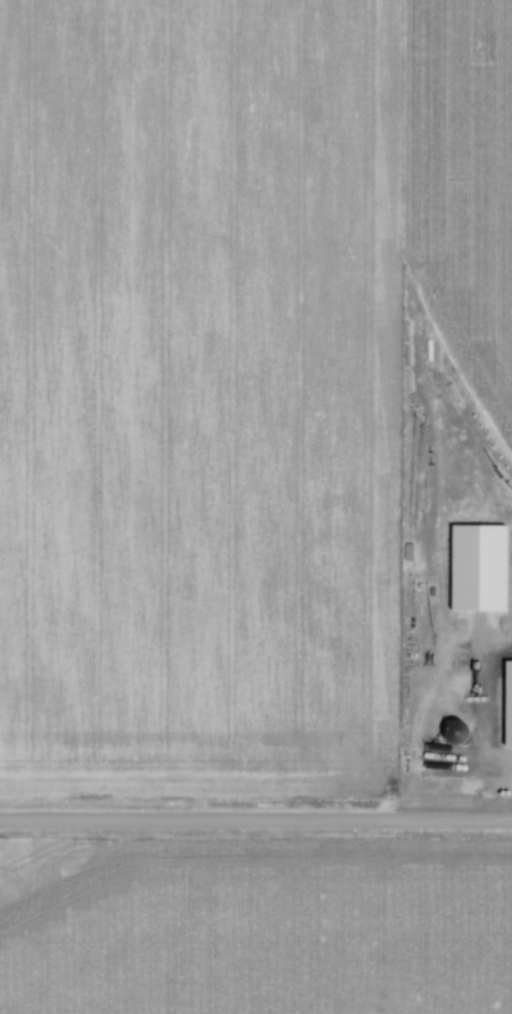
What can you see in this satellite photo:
road: (256, 825)

